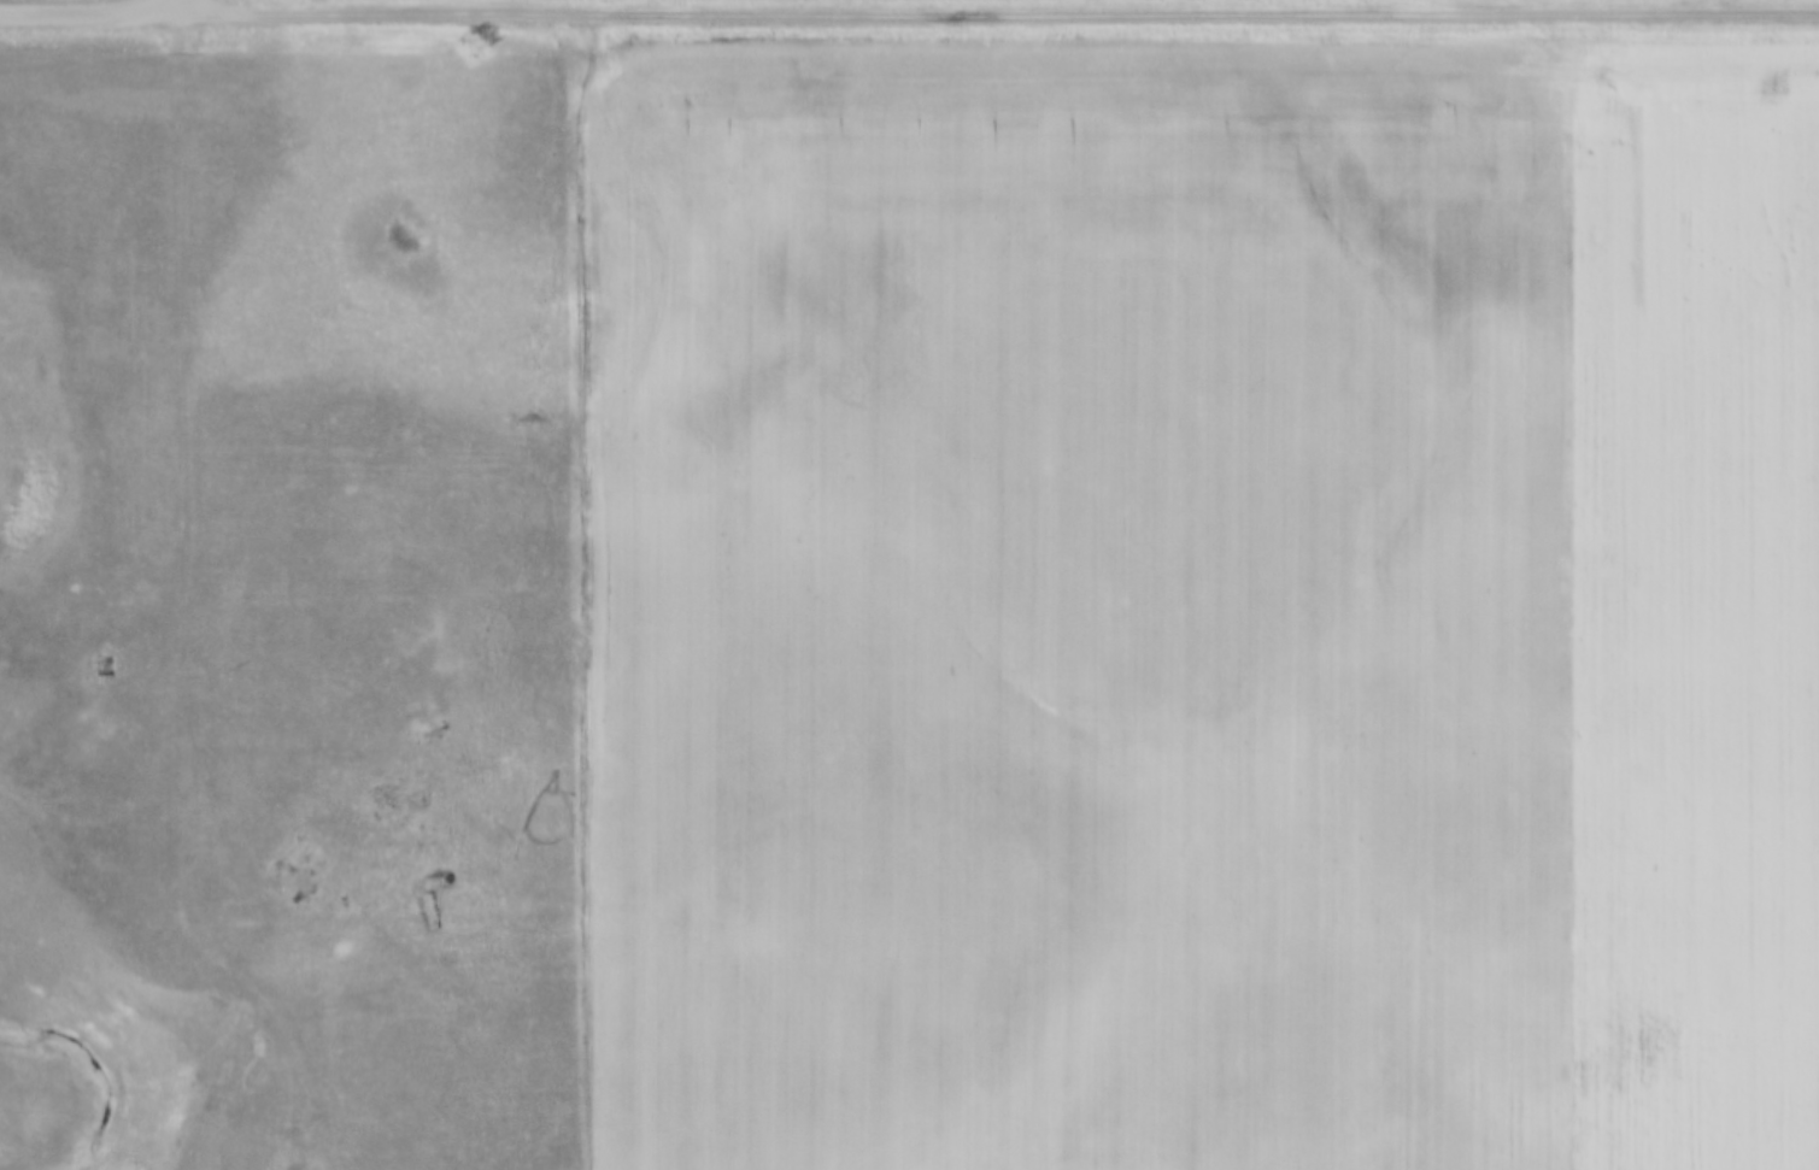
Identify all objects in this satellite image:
road: (178, 6)
road: (909, 11)
road: (602, 589)

